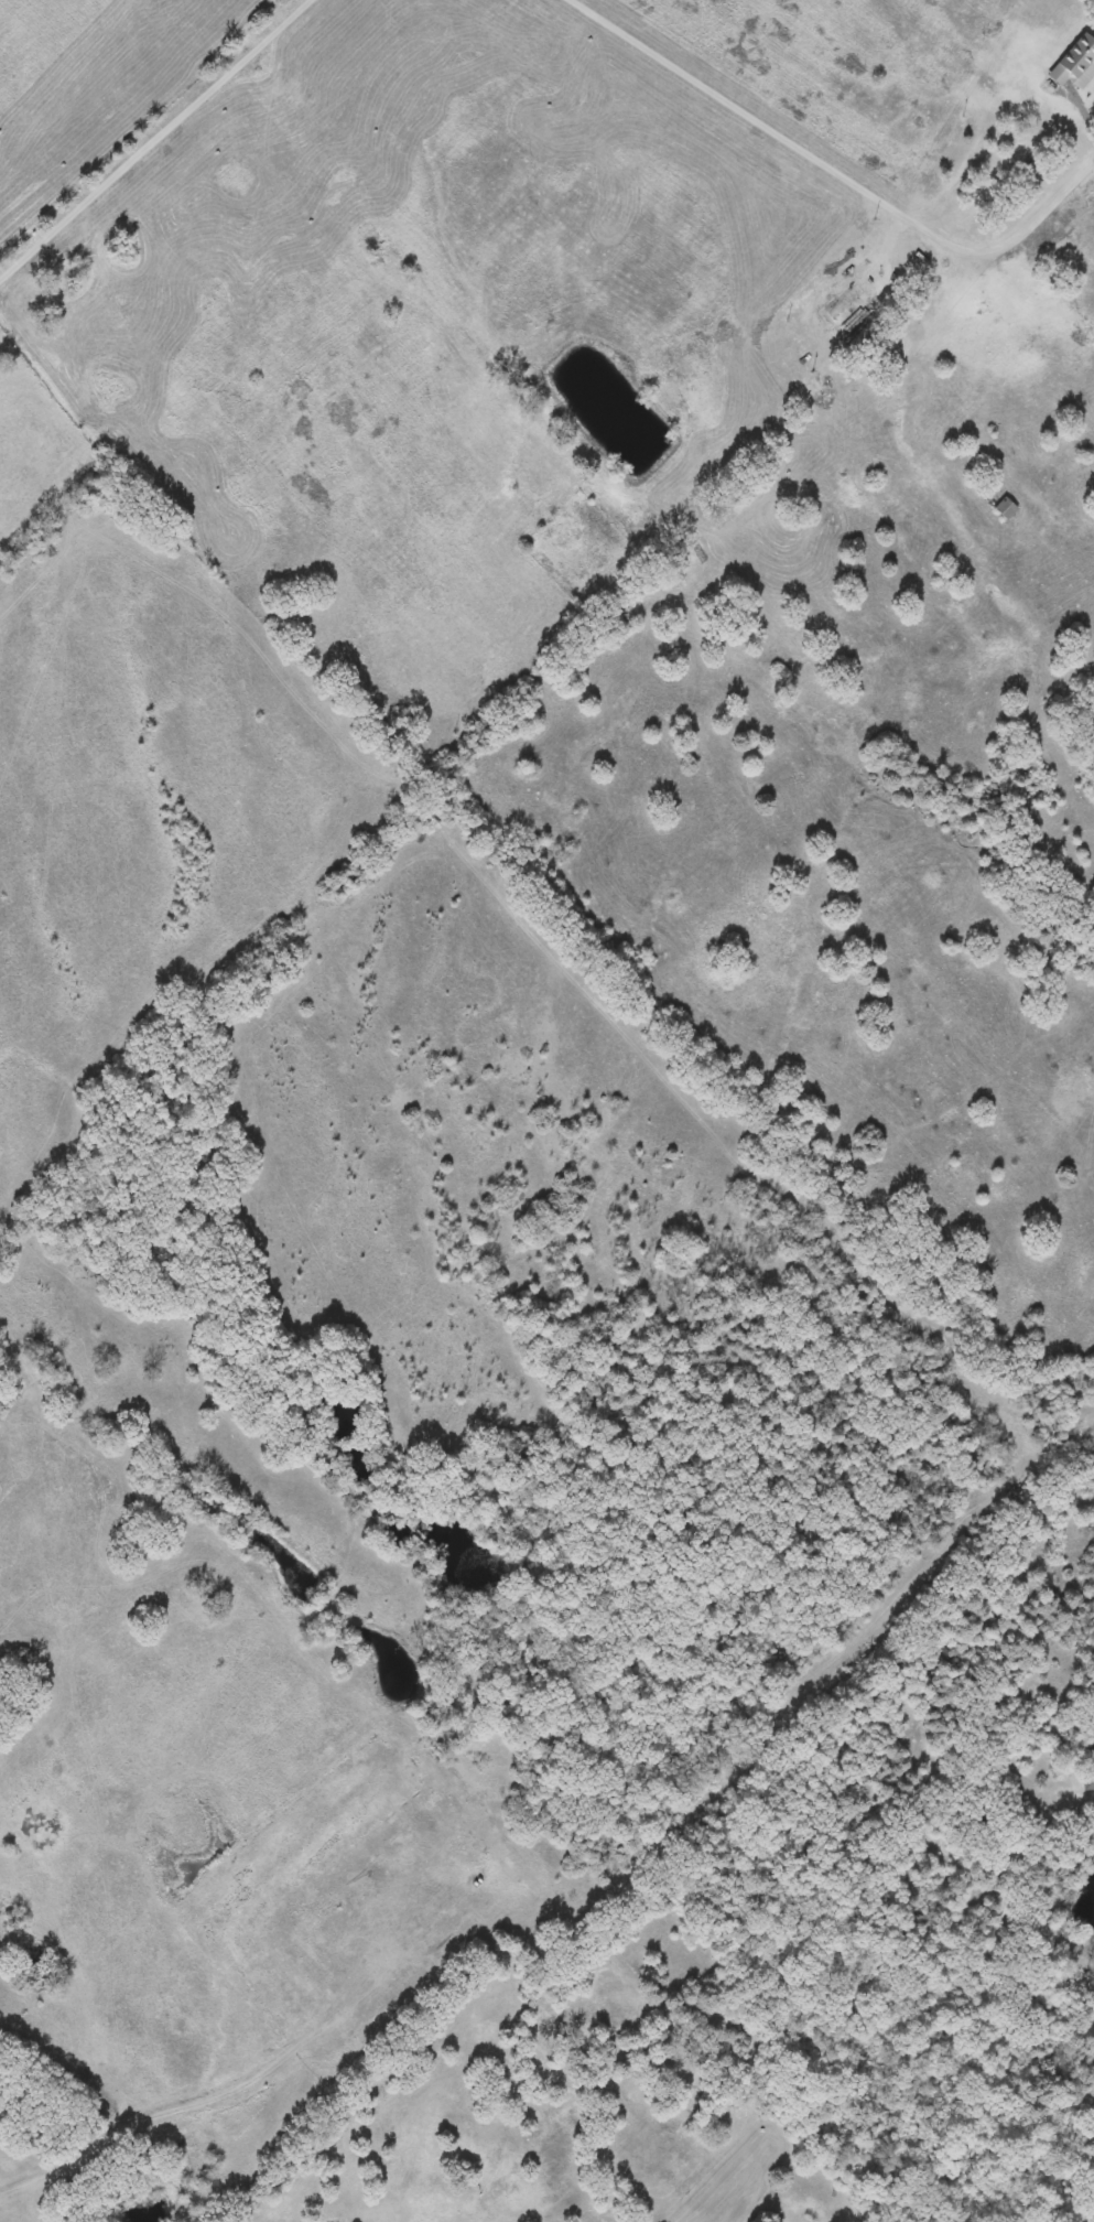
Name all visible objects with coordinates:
building: (1075, 64)
road: (773, 129)
road: (155, 138)
road: (1038, 214)
road: (838, 273)
building: (852, 310)
building: (1007, 509)
building: (1087, 1779)
road: (987, 1997)

